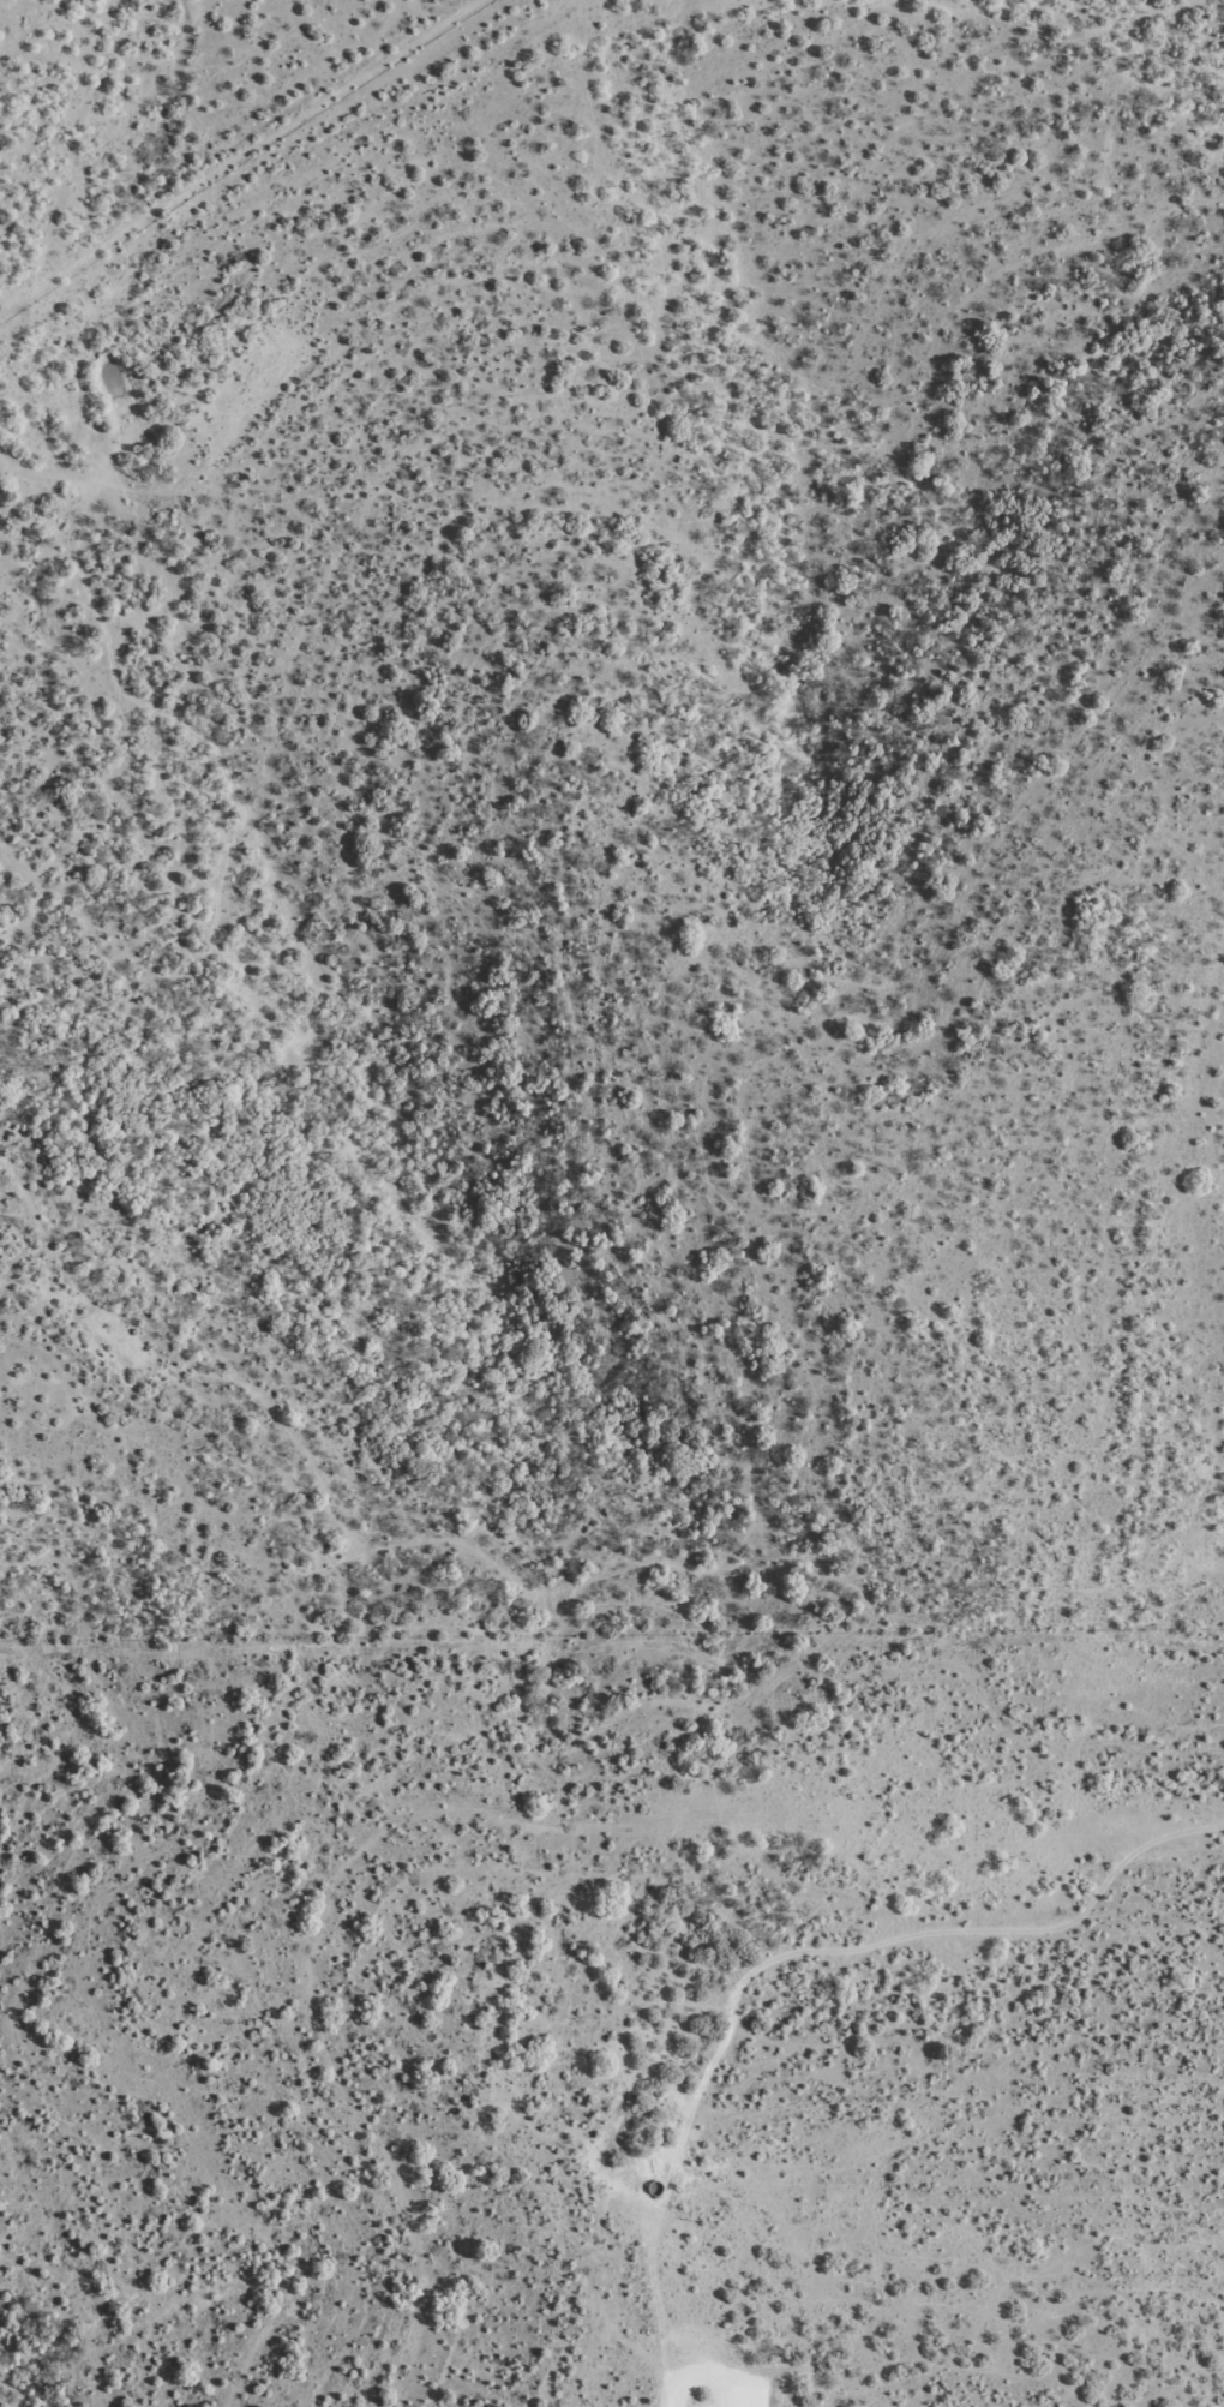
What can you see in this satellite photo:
road: (613, 2376)

